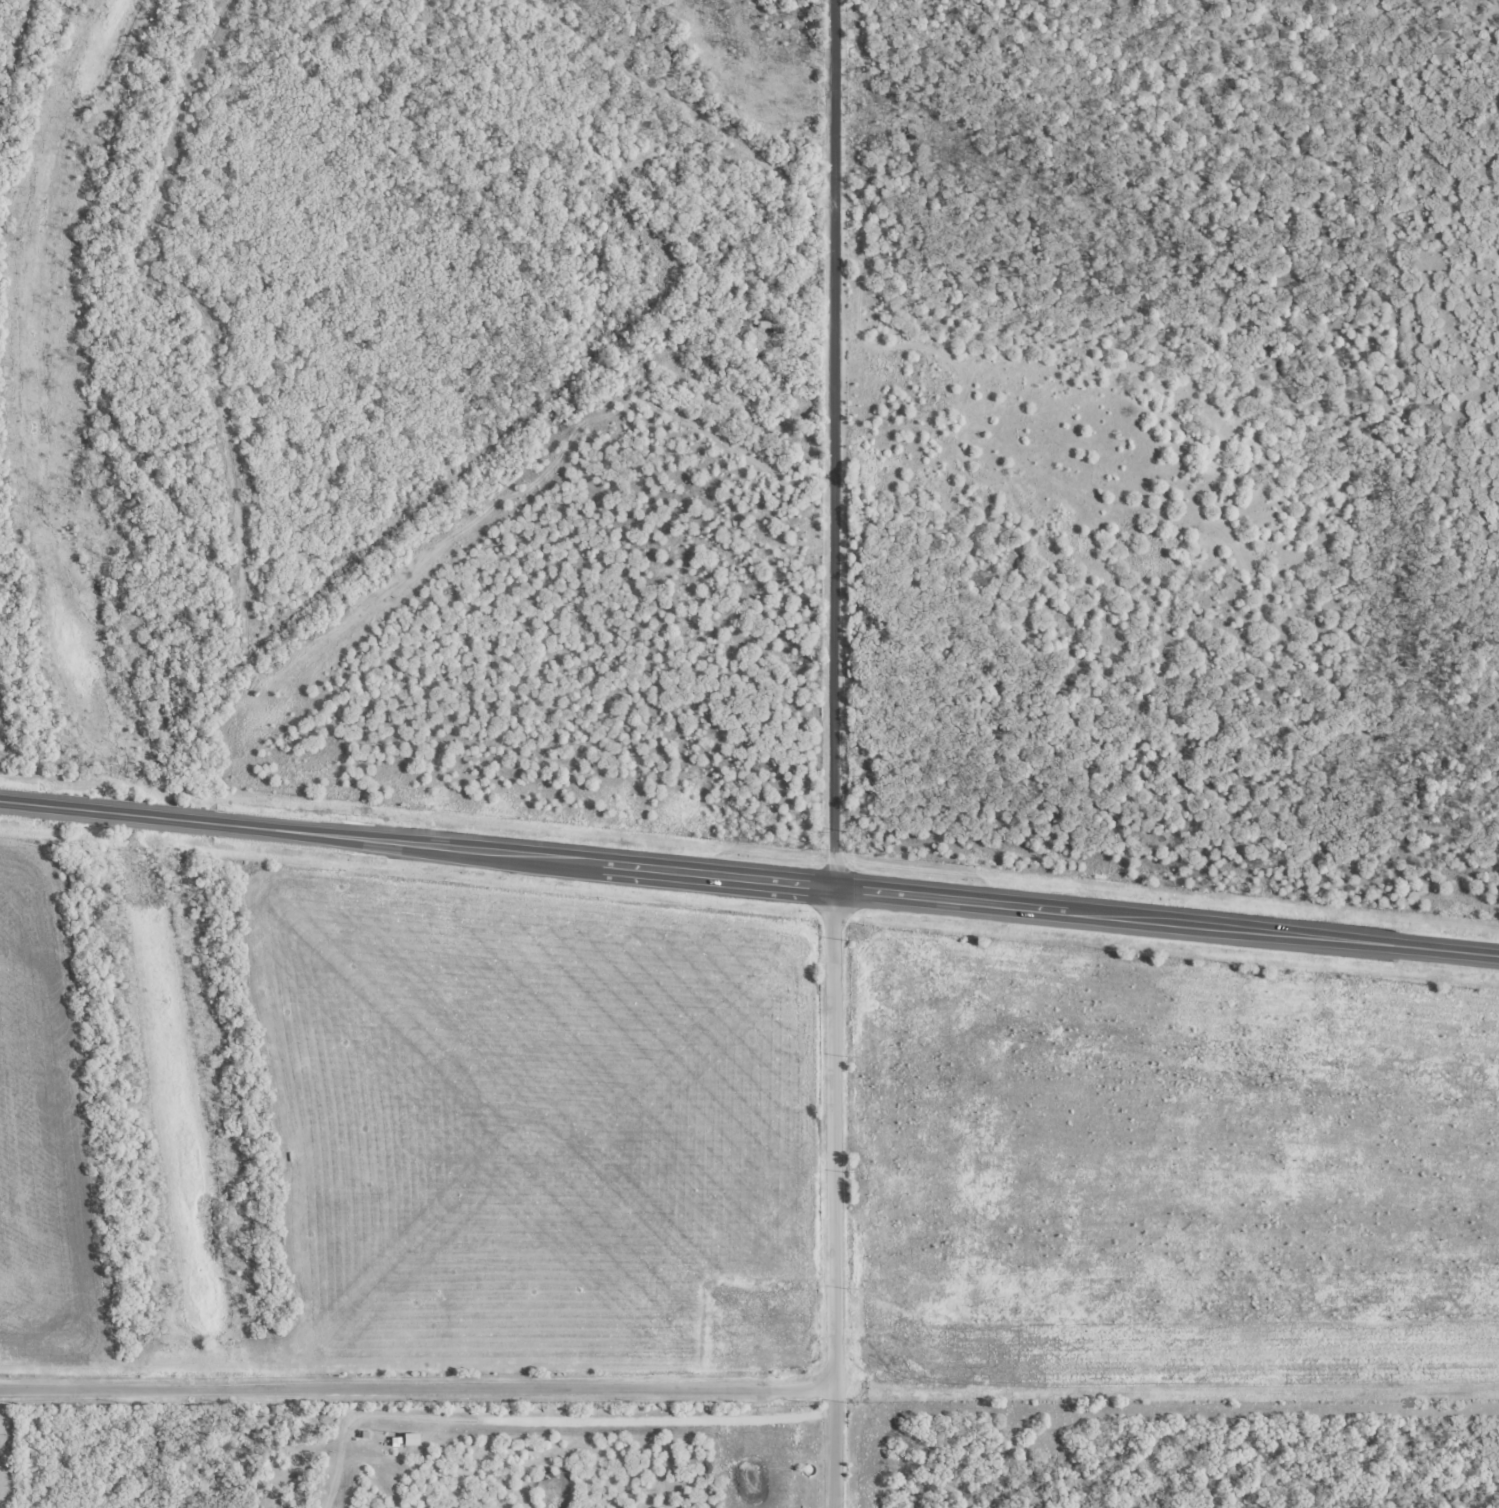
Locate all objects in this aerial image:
building: (704, 290)
building: (714, 296)
building: (775, 323)
building: (744, 327)
road: (832, 443)
road: (749, 878)
road: (829, 1197)
road: (415, 1391)

